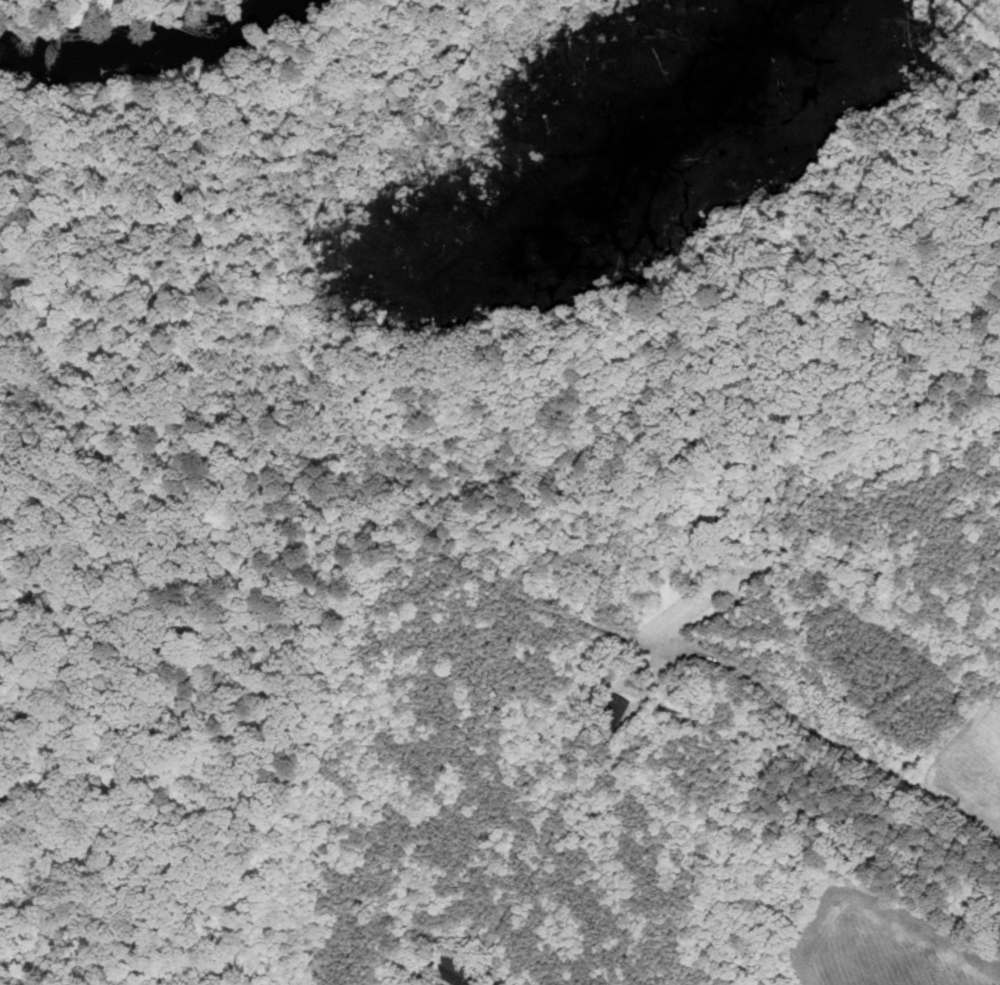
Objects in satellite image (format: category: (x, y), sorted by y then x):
river: (171, 49)
road: (383, 518)
road: (437, 550)
road: (475, 629)
building: (616, 708)
building: (456, 976)

